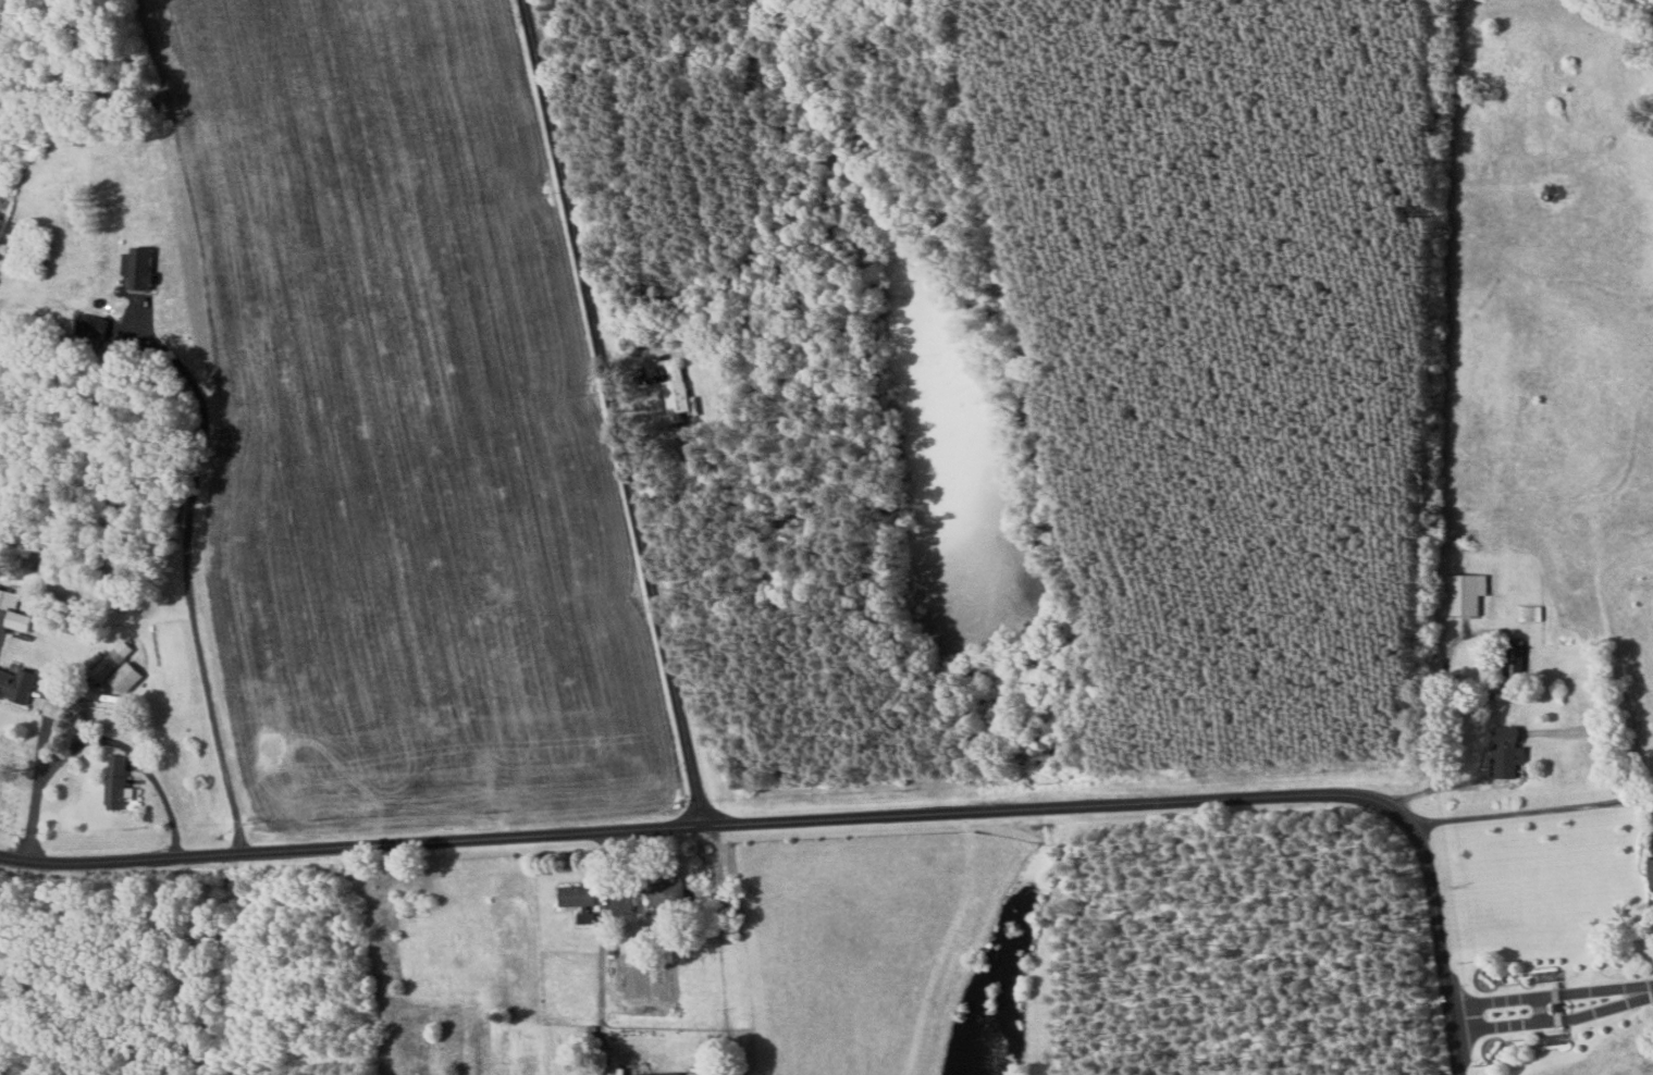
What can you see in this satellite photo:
building: (139, 269)
building: (675, 393)
road: (613, 411)
building: (46, 566)
road: (187, 578)
building: (1466, 593)
building: (13, 611)
building: (2, 617)
building: (1513, 663)
building: (115, 671)
building: (15, 685)
building: (1505, 751)
road: (132, 752)
road: (36, 781)
building: (119, 787)
road: (1532, 814)
road: (837, 817)
building: (1651, 870)
building: (666, 891)
building: (579, 900)
road: (1552, 1011)
building: (657, 1073)

